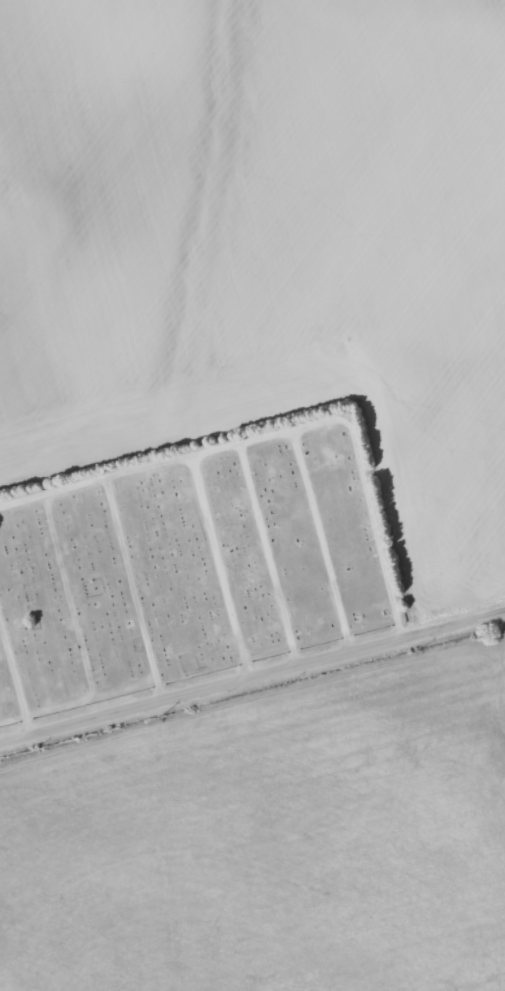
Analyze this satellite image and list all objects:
park: (189, 561)
road: (252, 674)

